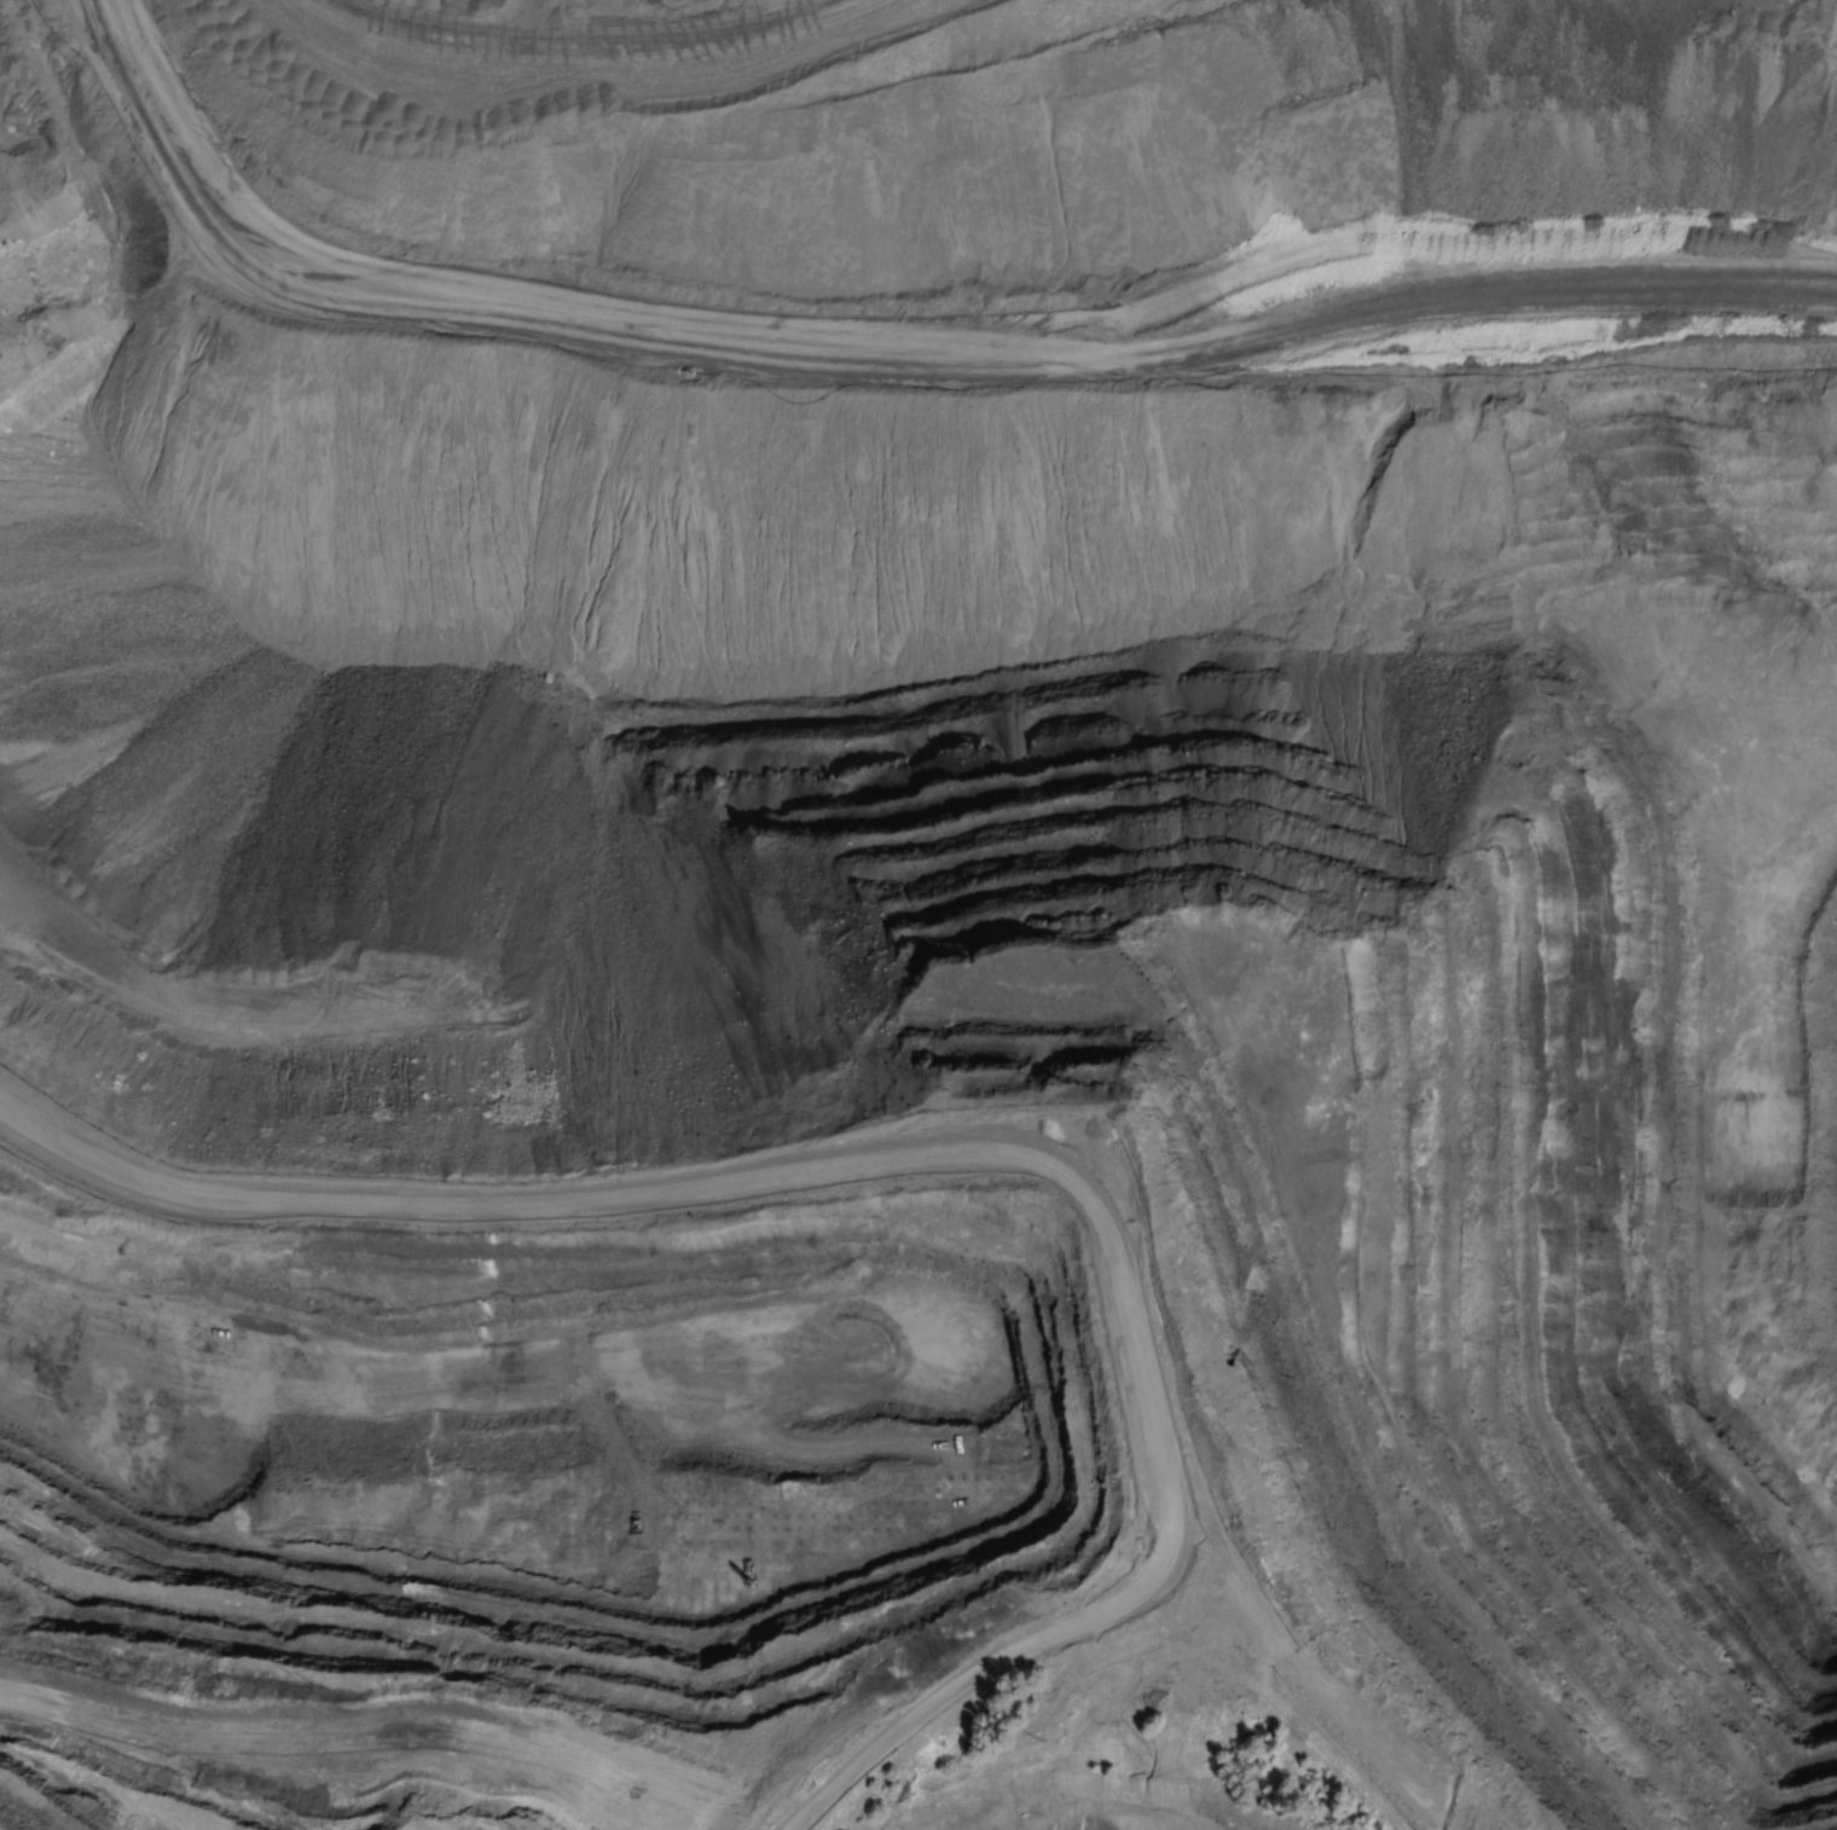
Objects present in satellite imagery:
quarry: (950, 775)
parking lot: (1097, 1154)
building: (581, 1466)
building: (630, 1467)
building: (848, 1673)
road: (4, 1829)

